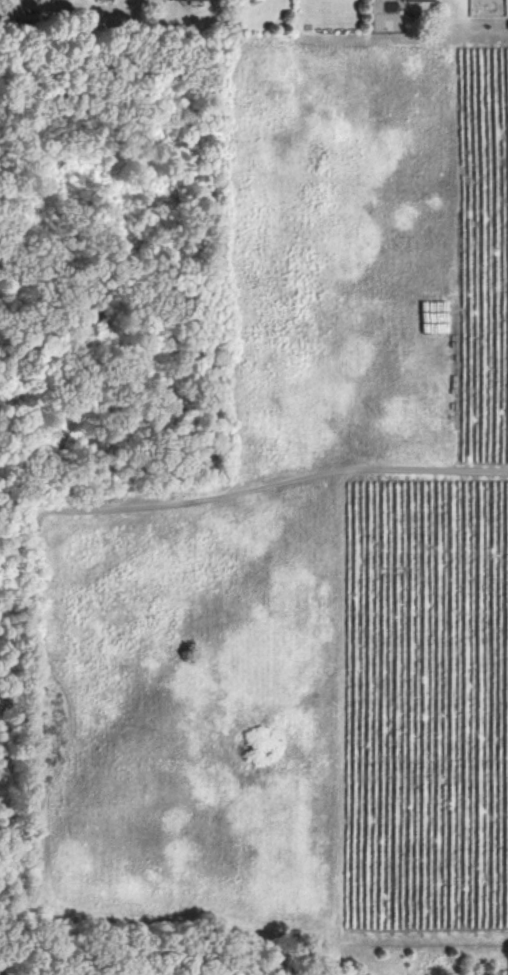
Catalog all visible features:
building: (190, 2)
building: (419, 3)

